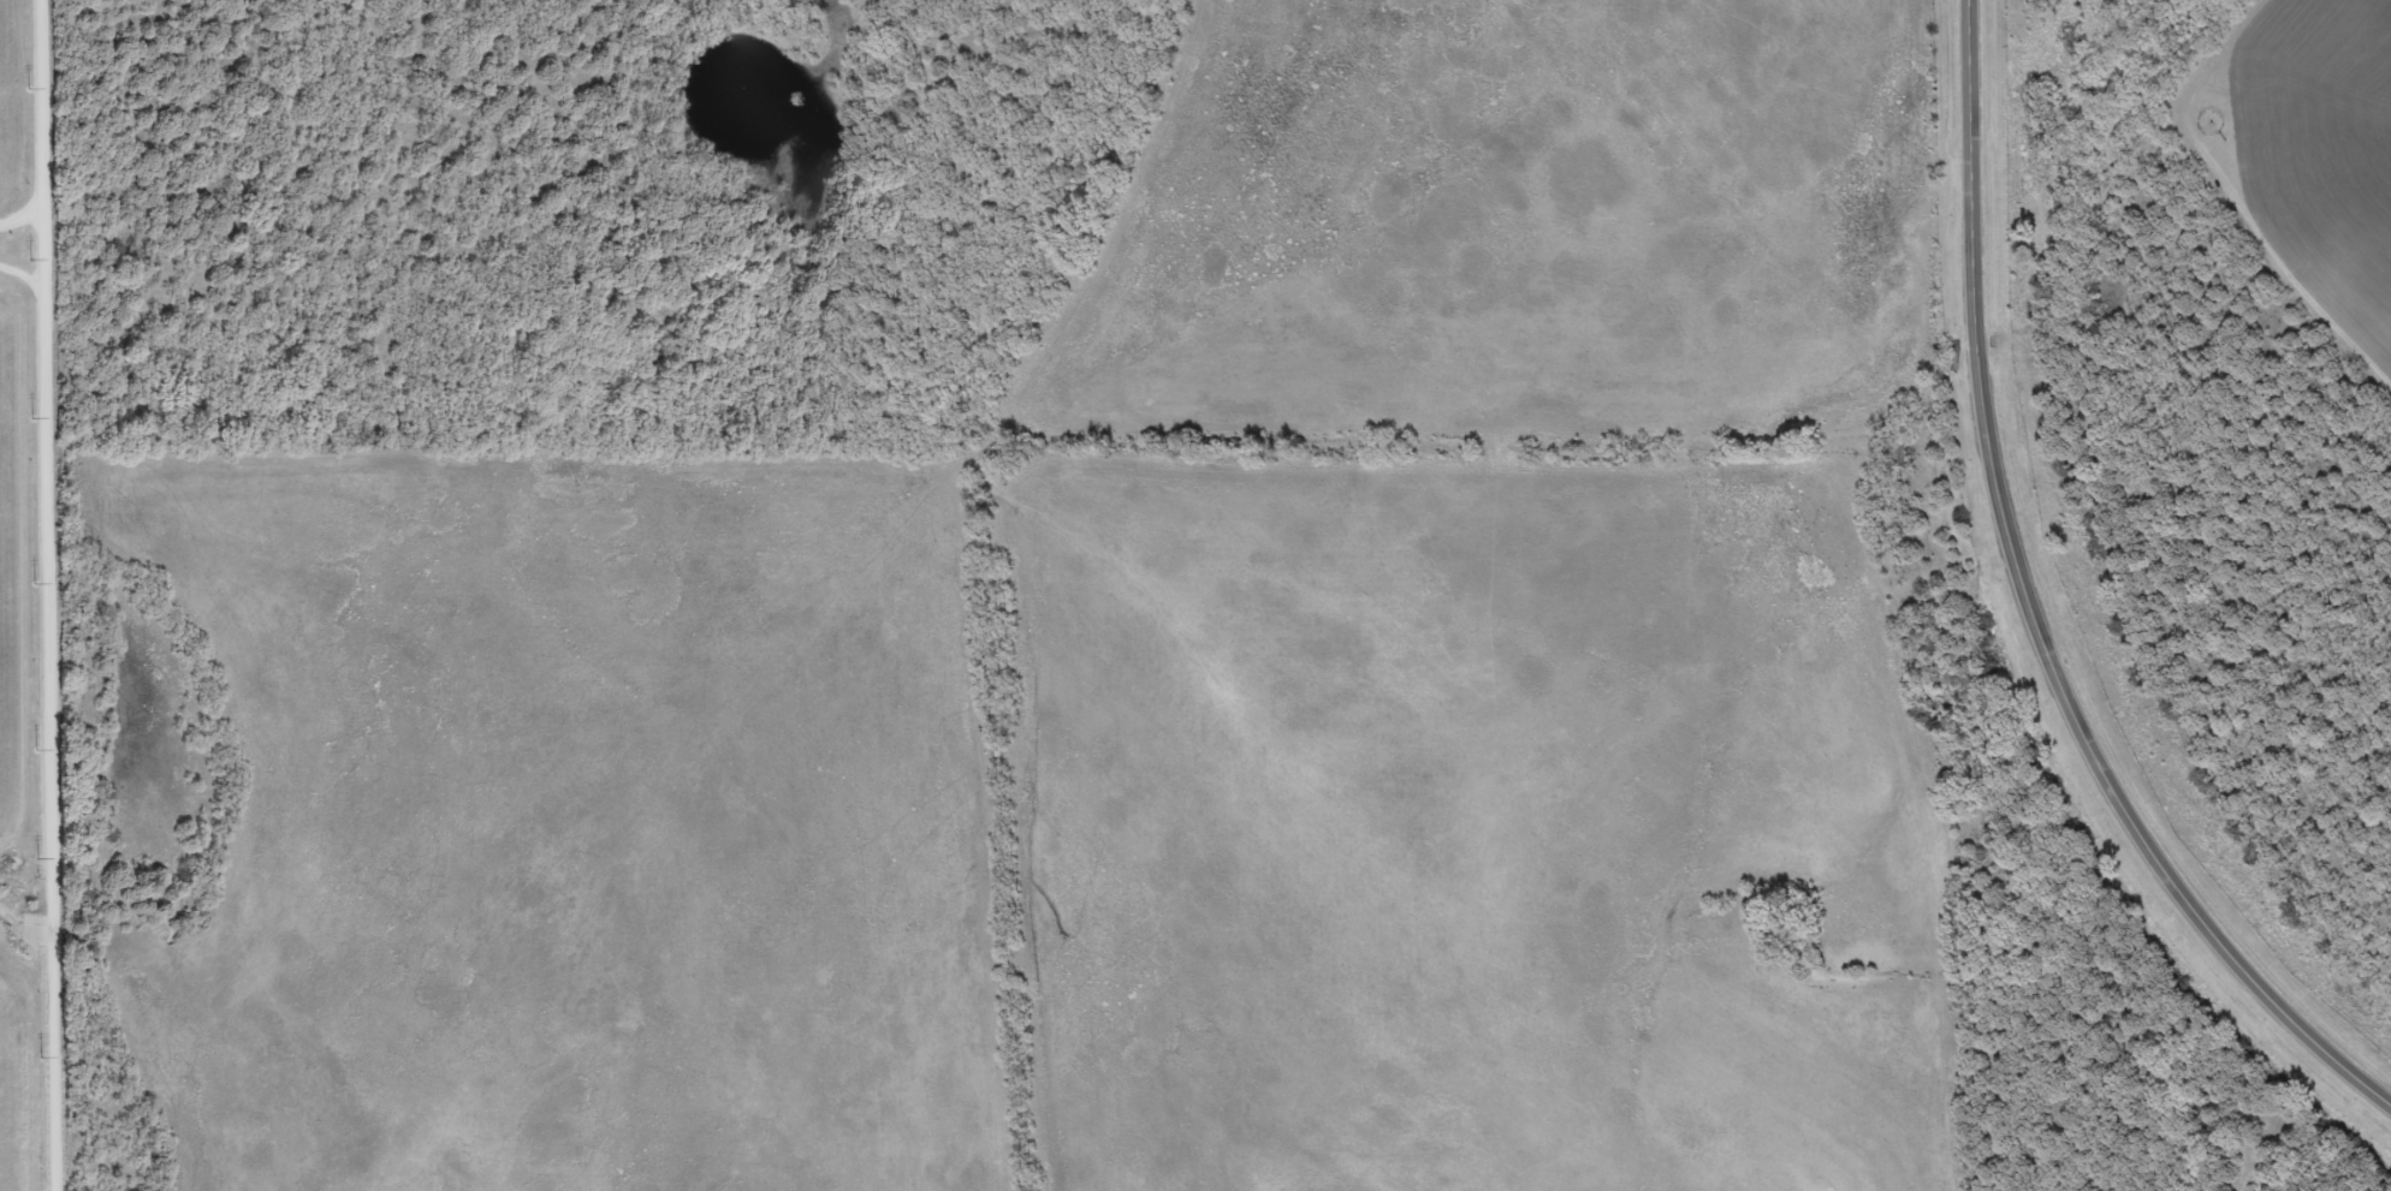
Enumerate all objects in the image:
road: (52, 595)
road: (2036, 609)

